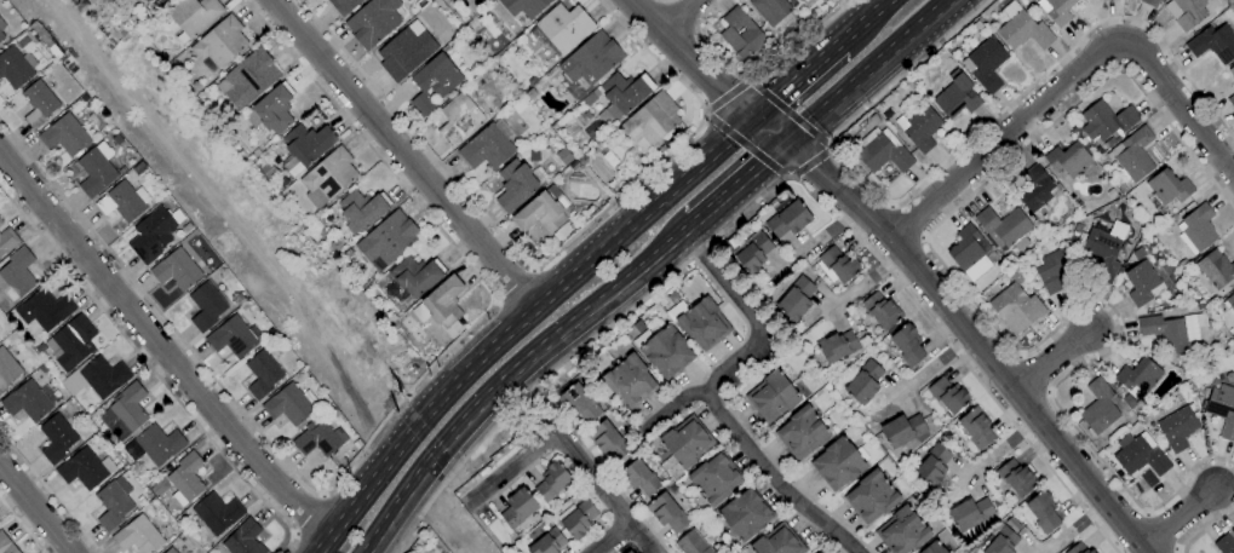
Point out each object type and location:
building: (144, 0)
building: (147, 0)
road: (667, 0)
building: (163, 1)
building: (805, 2)
building: (1150, 2)
building: (343, 6)
building: (523, 6)
building: (770, 10)
building: (1055, 10)
building: (1186, 12)
building: (460, 15)
road: (673, 15)
building: (194, 16)
road: (862, 21)
building: (373, 22)
building: (1, 25)
building: (1022, 28)
building: (561, 29)
building: (741, 34)
building: (1, 36)
building: (219, 44)
building: (1213, 44)
building: (406, 51)
building: (985, 63)
building: (589, 64)
building: (15, 67)
road: (866, 70)
building: (1232, 70)
road: (757, 76)
building: (248, 79)
road: (796, 79)
road: (1072, 80)
road: (744, 81)
road: (748, 81)
building: (434, 82)
building: (624, 93)
road: (725, 96)
building: (955, 96)
building: (589, 99)
building: (1232, 100)
building: (39, 103)
building: (271, 110)
road: (706, 110)
road: (788, 114)
road: (706, 116)
building: (459, 119)
building: (650, 121)
building: (1106, 121)
building: (919, 127)
building: (64, 136)
building: (308, 143)
road: (830, 146)
road: (748, 148)
building: (486, 149)
road: (957, 149)
road: (830, 151)
building: (882, 151)
road: (402, 154)
building: (1133, 154)
building: (564, 156)
building: (1068, 159)
road: (808, 165)
building: (138, 168)
building: (96, 169)
building: (328, 177)
road: (790, 178)
road: (739, 183)
building: (517, 184)
road: (768, 189)
building: (1037, 189)
building: (1166, 189)
building: (122, 201)
road: (890, 206)
building: (362, 209)
building: (540, 212)
park: (229, 213)
building: (787, 218)
building: (1, 221)
road: (905, 224)
building: (1004, 227)
building: (1198, 227)
road: (679, 234)
building: (151, 235)
road: (923, 238)
building: (7, 240)
building: (388, 240)
building: (752, 250)
building: (969, 253)
building: (1102, 253)
road: (905, 259)
road: (546, 260)
building: (838, 264)
building: (1215, 269)
building: (176, 270)
building: (1052, 270)
building: (415, 275)
building: (16, 277)
building: (1142, 283)
road: (513, 286)
building: (796, 299)
building: (1230, 301)
building: (441, 304)
building: (206, 306)
building: (45, 309)
building: (1016, 309)
building: (880, 311)
road: (521, 321)
building: (700, 322)
road: (988, 322)
building: (1165, 333)
building: (233, 338)
building: (71, 342)
building: (907, 345)
road: (163, 346)
building: (837, 346)
building: (662, 348)
road: (748, 350)
road: (1018, 356)
road: (1052, 359)
road: (151, 368)
building: (7, 369)
building: (262, 374)
road: (1031, 375)
building: (1138, 375)
building: (96, 376)
building: (630, 380)
building: (863, 382)
road: (499, 384)
power tower: (391, 392)
road: (1049, 392)
building: (947, 394)
building: (771, 397)
building: (29, 401)
building: (578, 403)
building: (289, 404)
building: (1100, 407)
building: (1222, 409)
building: (127, 410)
building: (976, 427)
building: (1178, 427)
building: (902, 430)
road: (374, 432)
building: (802, 433)
building: (56, 438)
building: (318, 438)
building: (607, 440)
building: (684, 442)
building: (154, 444)
building: (1138, 456)
road: (578, 463)
building: (838, 463)
building: (932, 465)
building: (84, 468)
road: (516, 471)
building: (186, 476)
building: (639, 477)
building: (1016, 477)
road: (771, 478)
building: (713, 479)
building: (552, 482)
road: (50, 491)
road: (321, 495)
building: (871, 496)
building: (111, 506)
building: (518, 508)
road: (34, 511)
building: (666, 512)
building: (1043, 512)
building: (216, 513)
building: (970, 513)
road: (1147, 513)
building: (744, 514)
road: (444, 515)
road: (309, 517)
road: (1178, 517)
building: (576, 518)
road: (22, 525)
road: (1201, 525)
building: (902, 530)
road: (1160, 532)
road: (293, 535)
building: (138, 536)
building: (243, 538)
road: (608, 538)
building: (1000, 540)
building: (776, 541)
building: (547, 542)
building: (691, 543)
building: (6, 545)
building: (1224, 545)
building: (934, 548)
building: (1078, 548)
road: (1177, 549)
building: (170, 551)
building: (626, 552)
building: (629, 552)
building: (815, 552)

